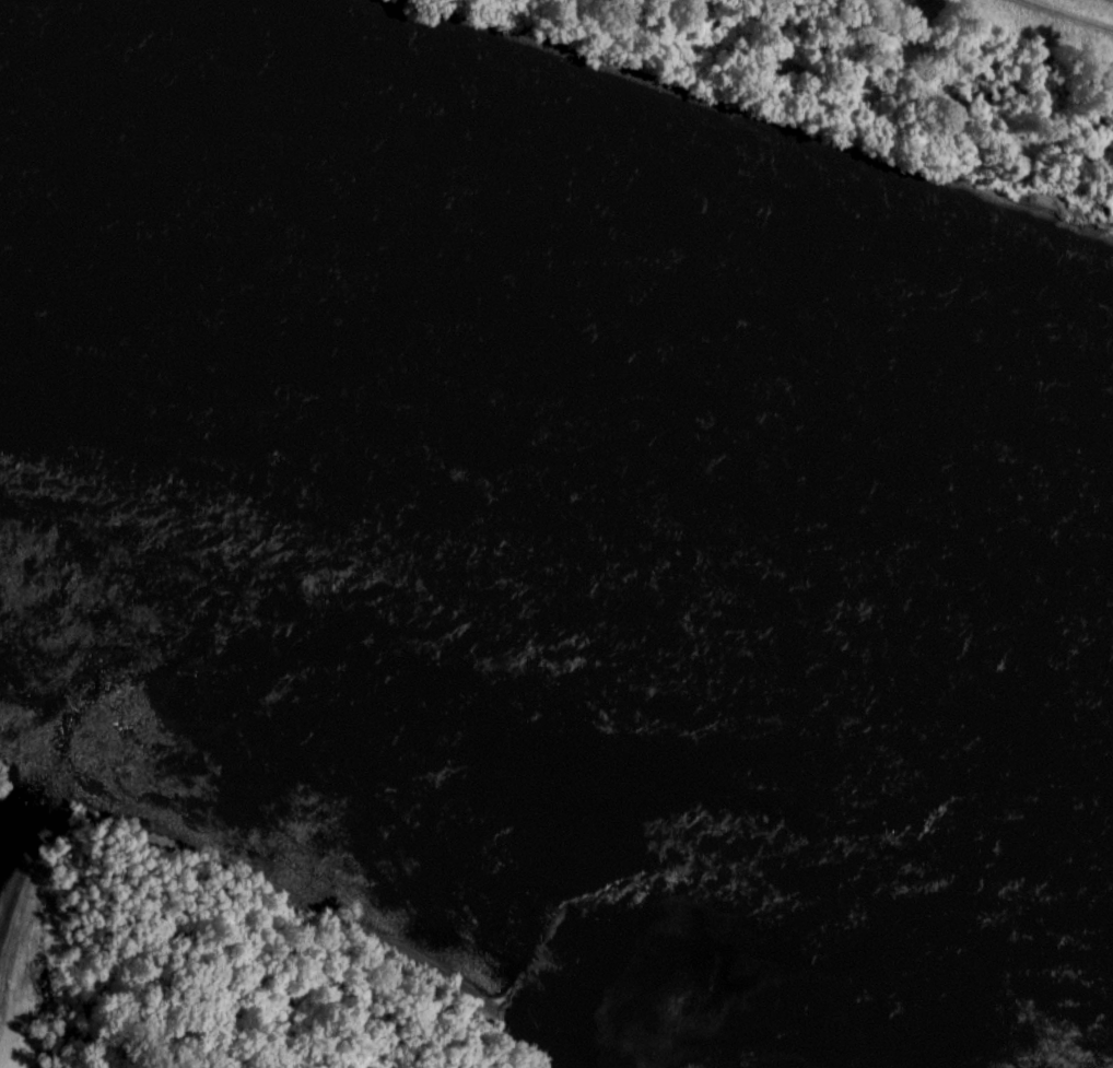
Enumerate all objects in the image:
road: (1067, 13)
river: (559, 551)

